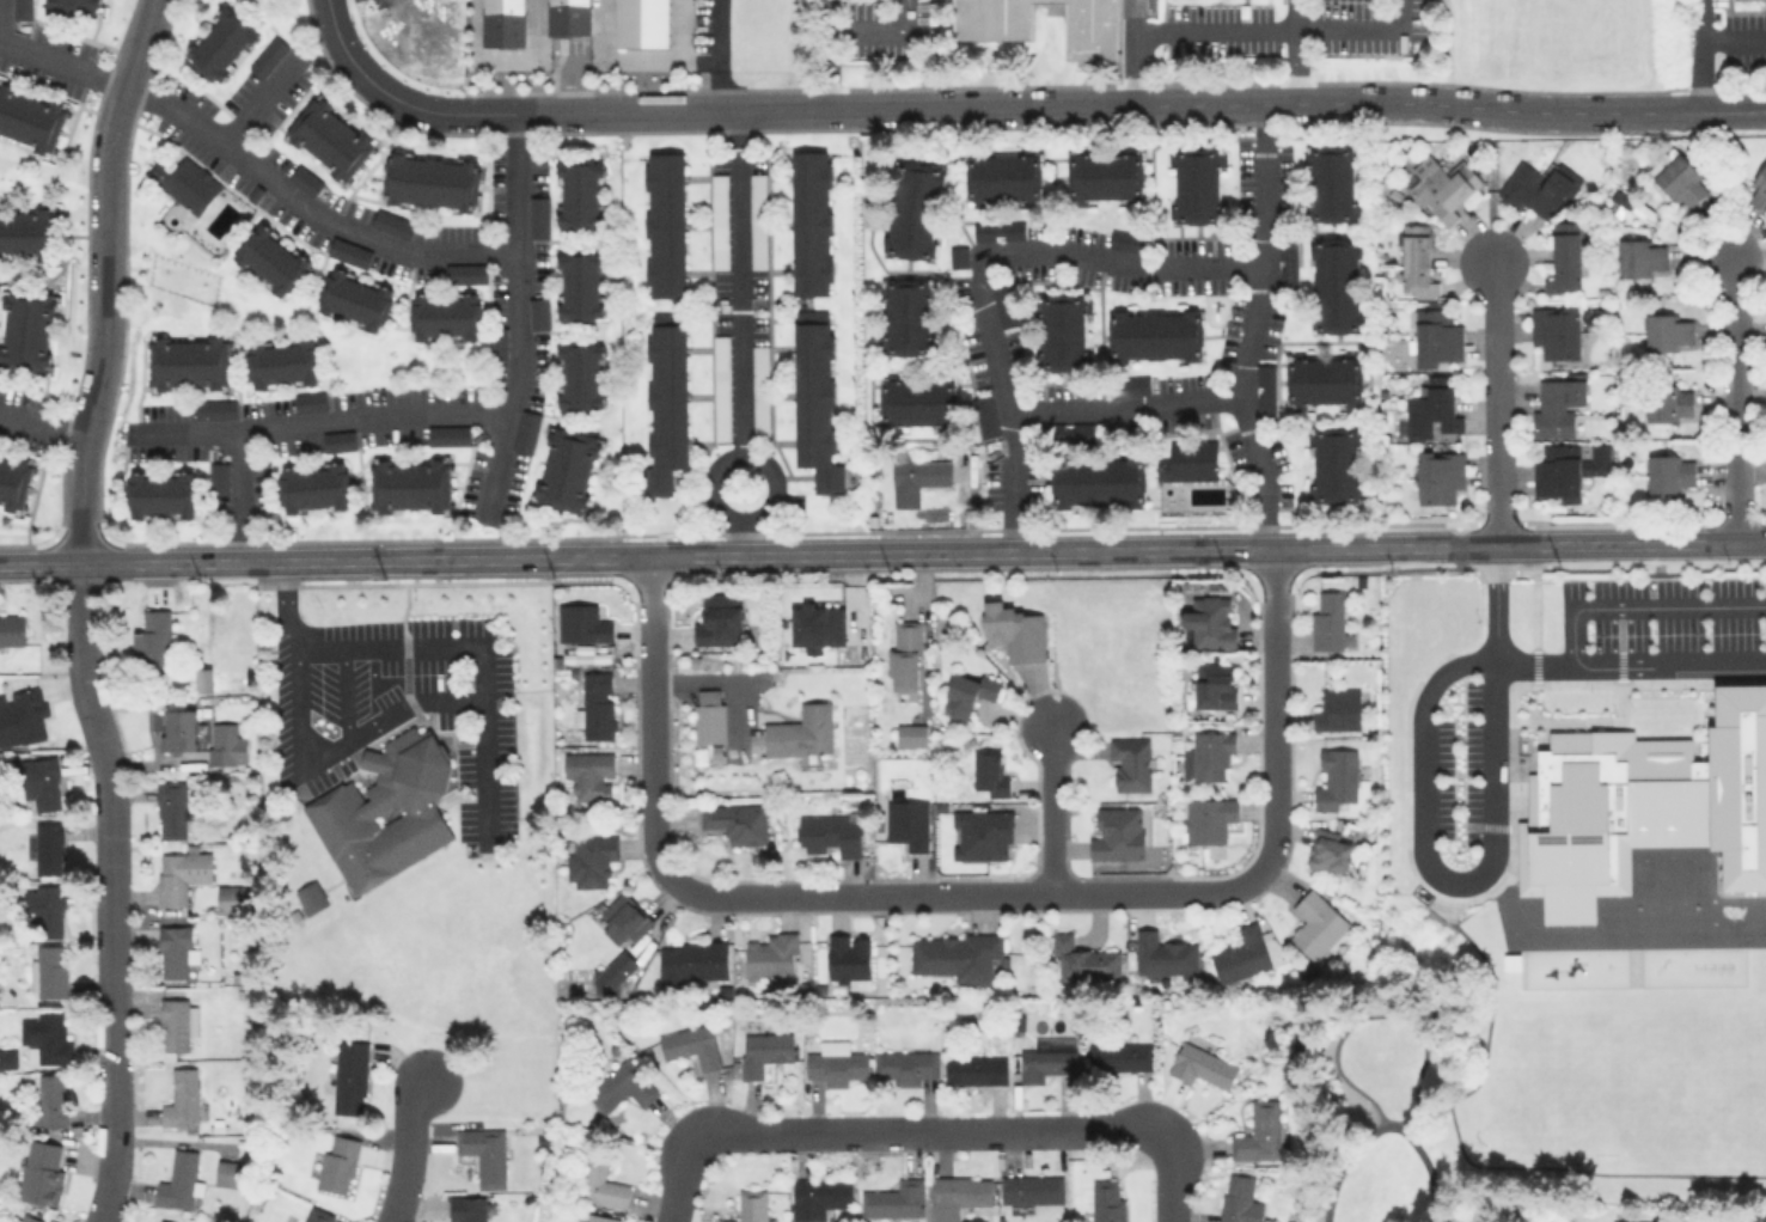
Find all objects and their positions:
building: (72, 7)
building: (22, 10)
road: (1131, 16)
building: (568, 17)
road: (0, 19)
building: (990, 19)
building: (503, 23)
building: (640, 23)
parking lot: (1296, 26)
road: (879, 28)
parking lot: (884, 28)
road: (537, 29)
building: (1089, 29)
road: (1241, 30)
road: (1734, 38)
building: (219, 43)
road: (1294, 51)
road: (826, 55)
building: (268, 56)
road: (717, 56)
road: (1701, 56)
road: (537, 57)
road: (668, 57)
road: (570, 86)
road: (261, 99)
road: (1015, 108)
building: (31, 118)
building: (329, 138)
road: (252, 166)
building: (1105, 176)
building: (1002, 177)
building: (305, 179)
building: (430, 181)
building: (1680, 181)
building: (185, 182)
building: (1330, 182)
building: (1196, 184)
building: (1437, 185)
building: (1535, 188)
building: (1758, 188)
building: (578, 193)
building: (912, 209)
building: (538, 216)
building: (719, 220)
building: (757, 220)
building: (811, 222)
building: (393, 224)
building: (664, 224)
building: (998, 230)
building: (28, 233)
building: (1126, 239)
road: (1263, 250)
building: (348, 251)
building: (1564, 253)
building: (958, 255)
building: (1640, 256)
building: (270, 259)
building: (1414, 261)
road: (979, 262)
building: (1285, 262)
road: (515, 264)
building: (464, 273)
road: (105, 279)
road: (740, 282)
building: (579, 285)
building: (1334, 285)
building: (355, 299)
building: (1002, 305)
building: (538, 312)
building: (444, 316)
building: (908, 316)
building: (26, 329)
building: (1554, 330)
building: (1063, 331)
building: (1667, 331)
building: (1155, 335)
building: (1434, 336)
building: (496, 341)
building: (188, 362)
building: (281, 362)
building: (580, 375)
building: (1324, 379)
building: (1129, 385)
building: (721, 387)
building: (1265, 389)
building: (759, 390)
building: (814, 397)
building: (665, 399)
road: (1203, 399)
building: (308, 401)
building: (916, 401)
road: (1730, 401)
road: (1497, 402)
building: (1668, 402)
building: (1557, 405)
building: (214, 409)
building: (1431, 409)
building: (984, 415)
road: (317, 423)
road: (43, 424)
building: (525, 430)
building: (1078, 432)
building: (447, 435)
building: (337, 440)
building: (1187, 459)
building: (1334, 464)
road: (496, 465)
building: (566, 469)
building: (1566, 469)
building: (1669, 471)
building: (1437, 475)
building: (219, 477)
building: (916, 478)
building: (14, 481)
building: (1098, 481)
road: (774, 483)
building: (409, 484)
building: (313, 487)
building: (160, 493)
road: (238, 497)
road: (743, 536)
road: (1015, 551)
road: (172, 561)
road: (41, 563)
road: (289, 606)
road: (1643, 606)
parking lot: (1661, 616)
building: (717, 618)
building: (581, 622)
building: (815, 623)
building: (1208, 623)
building: (1328, 623)
building: (11, 629)
building: (1013, 630)
building: (152, 639)
road: (421, 647)
building: (906, 654)
road: (1630, 660)
building: (203, 678)
road: (717, 679)
building: (1212, 685)
building: (966, 691)
road: (479, 702)
building: (595, 704)
building: (1336, 708)
road: (1272, 711)
building: (708, 715)
building: (23, 716)
road: (650, 722)
building: (177, 728)
building: (800, 731)
building: (910, 734)
building: (225, 744)
road: (326, 752)
building: (1208, 756)
building: (1130, 763)
parking lot: (1458, 772)
building: (589, 774)
building: (989, 774)
building: (1334, 777)
building: (38, 783)
building: (1644, 805)
building: (171, 808)
building: (342, 809)
road: (1049, 812)
building: (1208, 818)
building: (735, 820)
building: (908, 823)
building: (1117, 832)
building: (829, 833)
building: (980, 833)
building: (47, 847)
building: (1328, 850)
building: (589, 860)
road: (1489, 867)
building: (179, 874)
road: (112, 891)
road: (966, 896)
building: (232, 897)
building: (310, 897)
building: (44, 906)
building: (622, 918)
building: (1315, 924)
building: (175, 951)
building: (1162, 954)
building: (1240, 954)
building: (955, 955)
building: (771, 958)
building: (1083, 959)
building: (692, 960)
building: (848, 960)
building: (1511, 960)
building: (47, 971)
building: (613, 972)
road: (1376, 1012)
building: (177, 1022)
building: (45, 1038)
building: (690, 1045)
building: (762, 1051)
building: (7, 1057)
building: (1120, 1058)
building: (835, 1063)
building: (1043, 1063)
building: (1200, 1065)
building: (905, 1067)
building: (976, 1069)
building: (349, 1075)
building: (623, 1083)
park: (1621, 1087)
park: (1756, 1089)
building: (182, 1098)
building: (50, 1099)
road: (1434, 1105)
park: (1381, 1110)
street lamp: (1375, 1118)
road: (1386, 1124)
building: (1259, 1131)
road: (931, 1132)
road: (1462, 1151)
road: (404, 1153)
building: (483, 1154)
building: (336, 1162)
building: (41, 1172)
building: (230, 1173)
road: (682, 1178)
building: (179, 1180)
road: (1168, 1180)
building: (598, 1181)
building: (1031, 1190)
building: (958, 1194)
building: (818, 1196)
building: (894, 1199)
building: (1239, 1199)
building: (1107, 1200)
building: (750, 1205)
building: (466, 1209)
building: (318, 1215)
building: (28, 1217)
building: (599, 1217)
building: (163, 1220)
building: (1551, 1221)
building: (1634, 1221)

